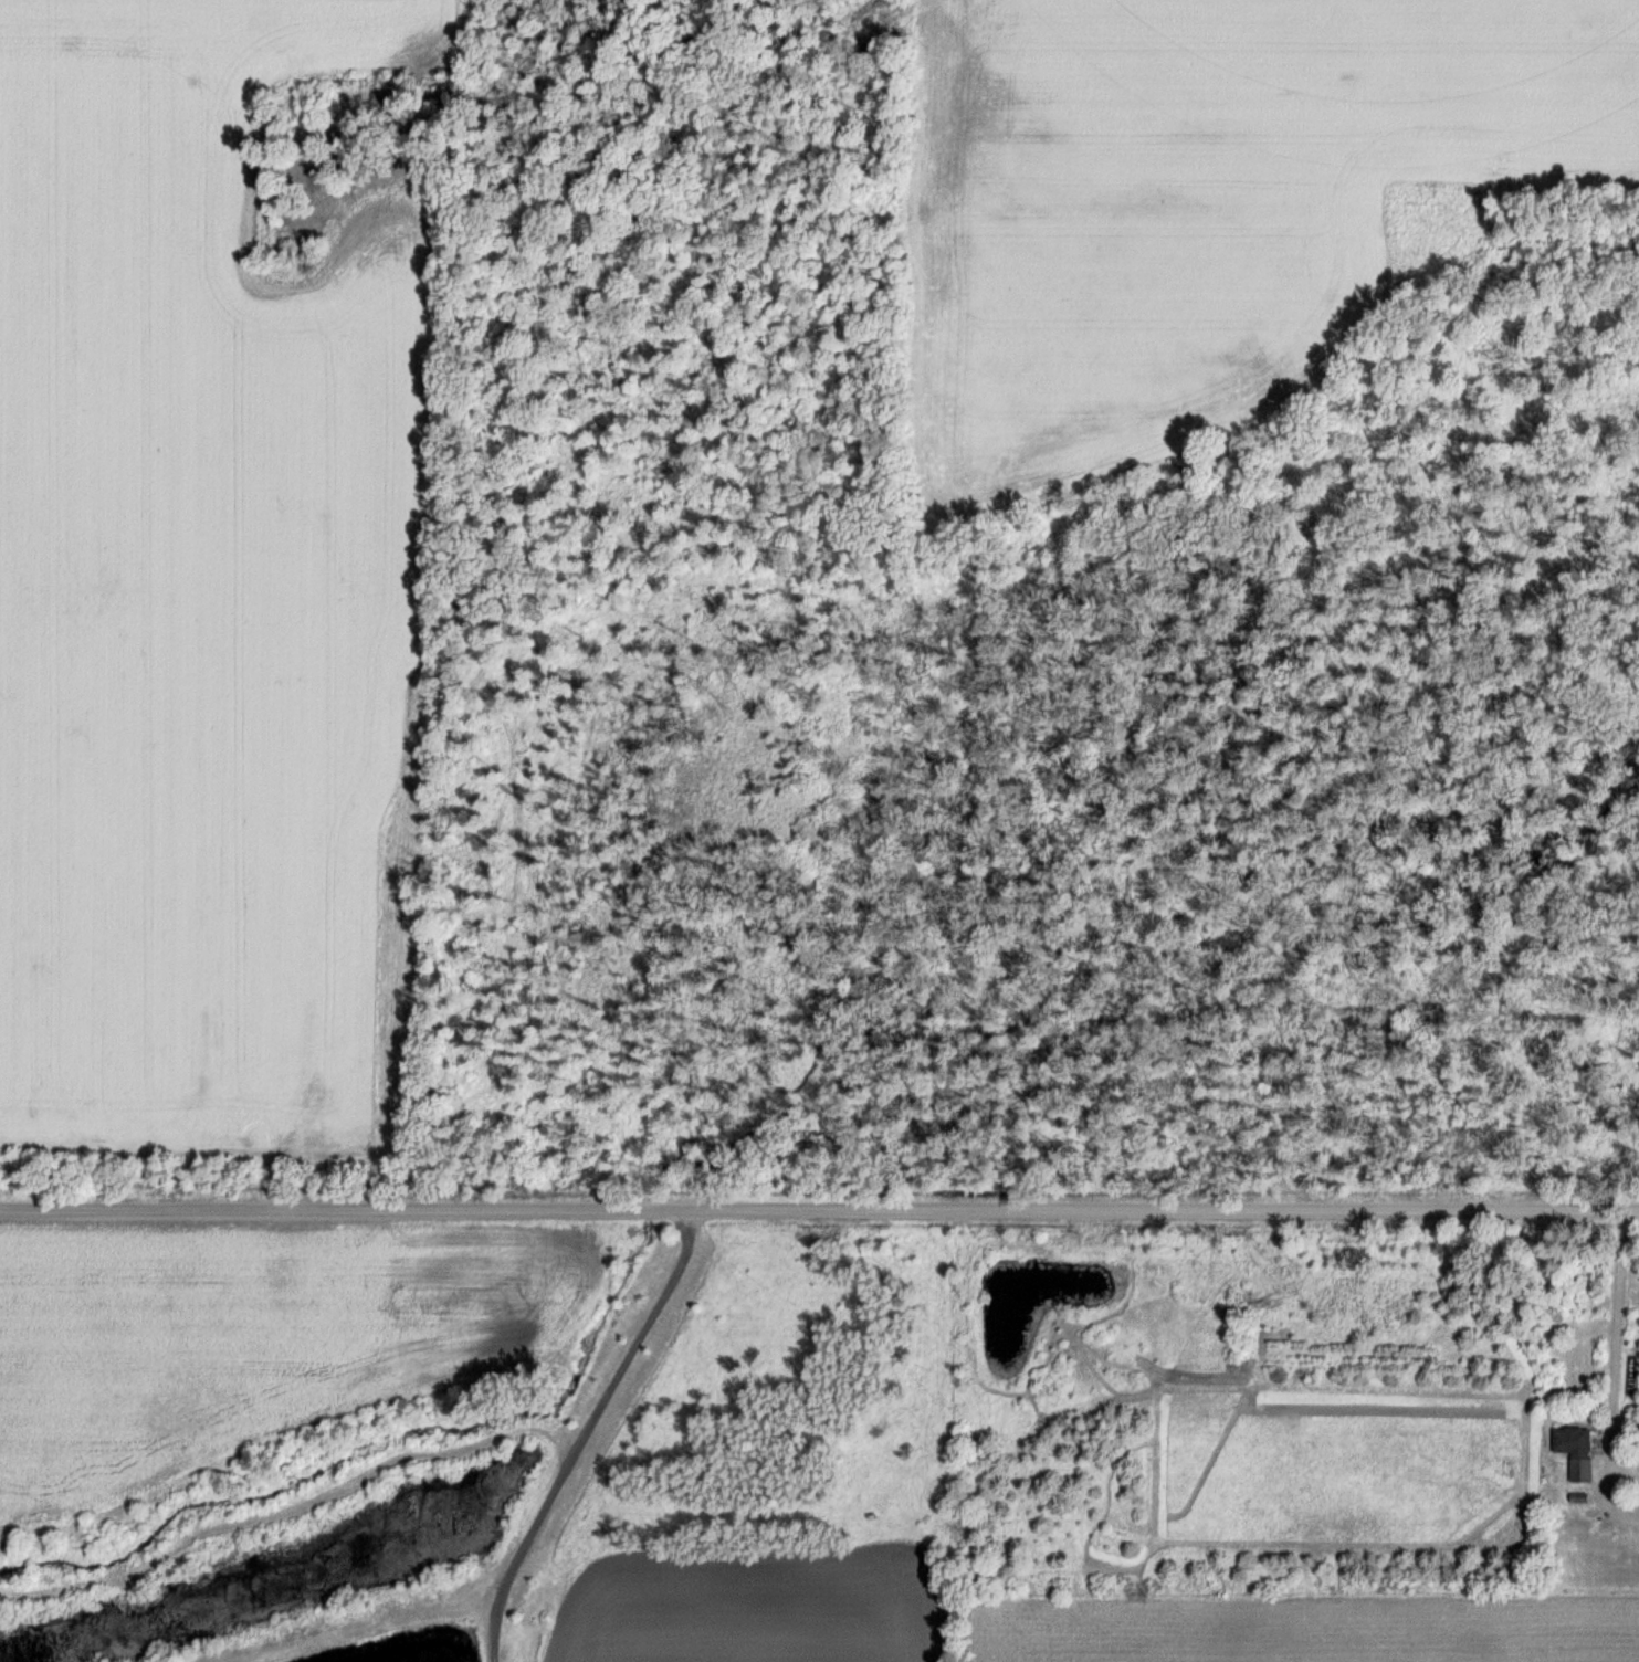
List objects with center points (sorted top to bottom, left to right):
road: (819, 1207)
road: (1612, 1335)
road: (584, 1432)
building: (1576, 1451)
road: (1625, 1464)
road: (1609, 1496)

